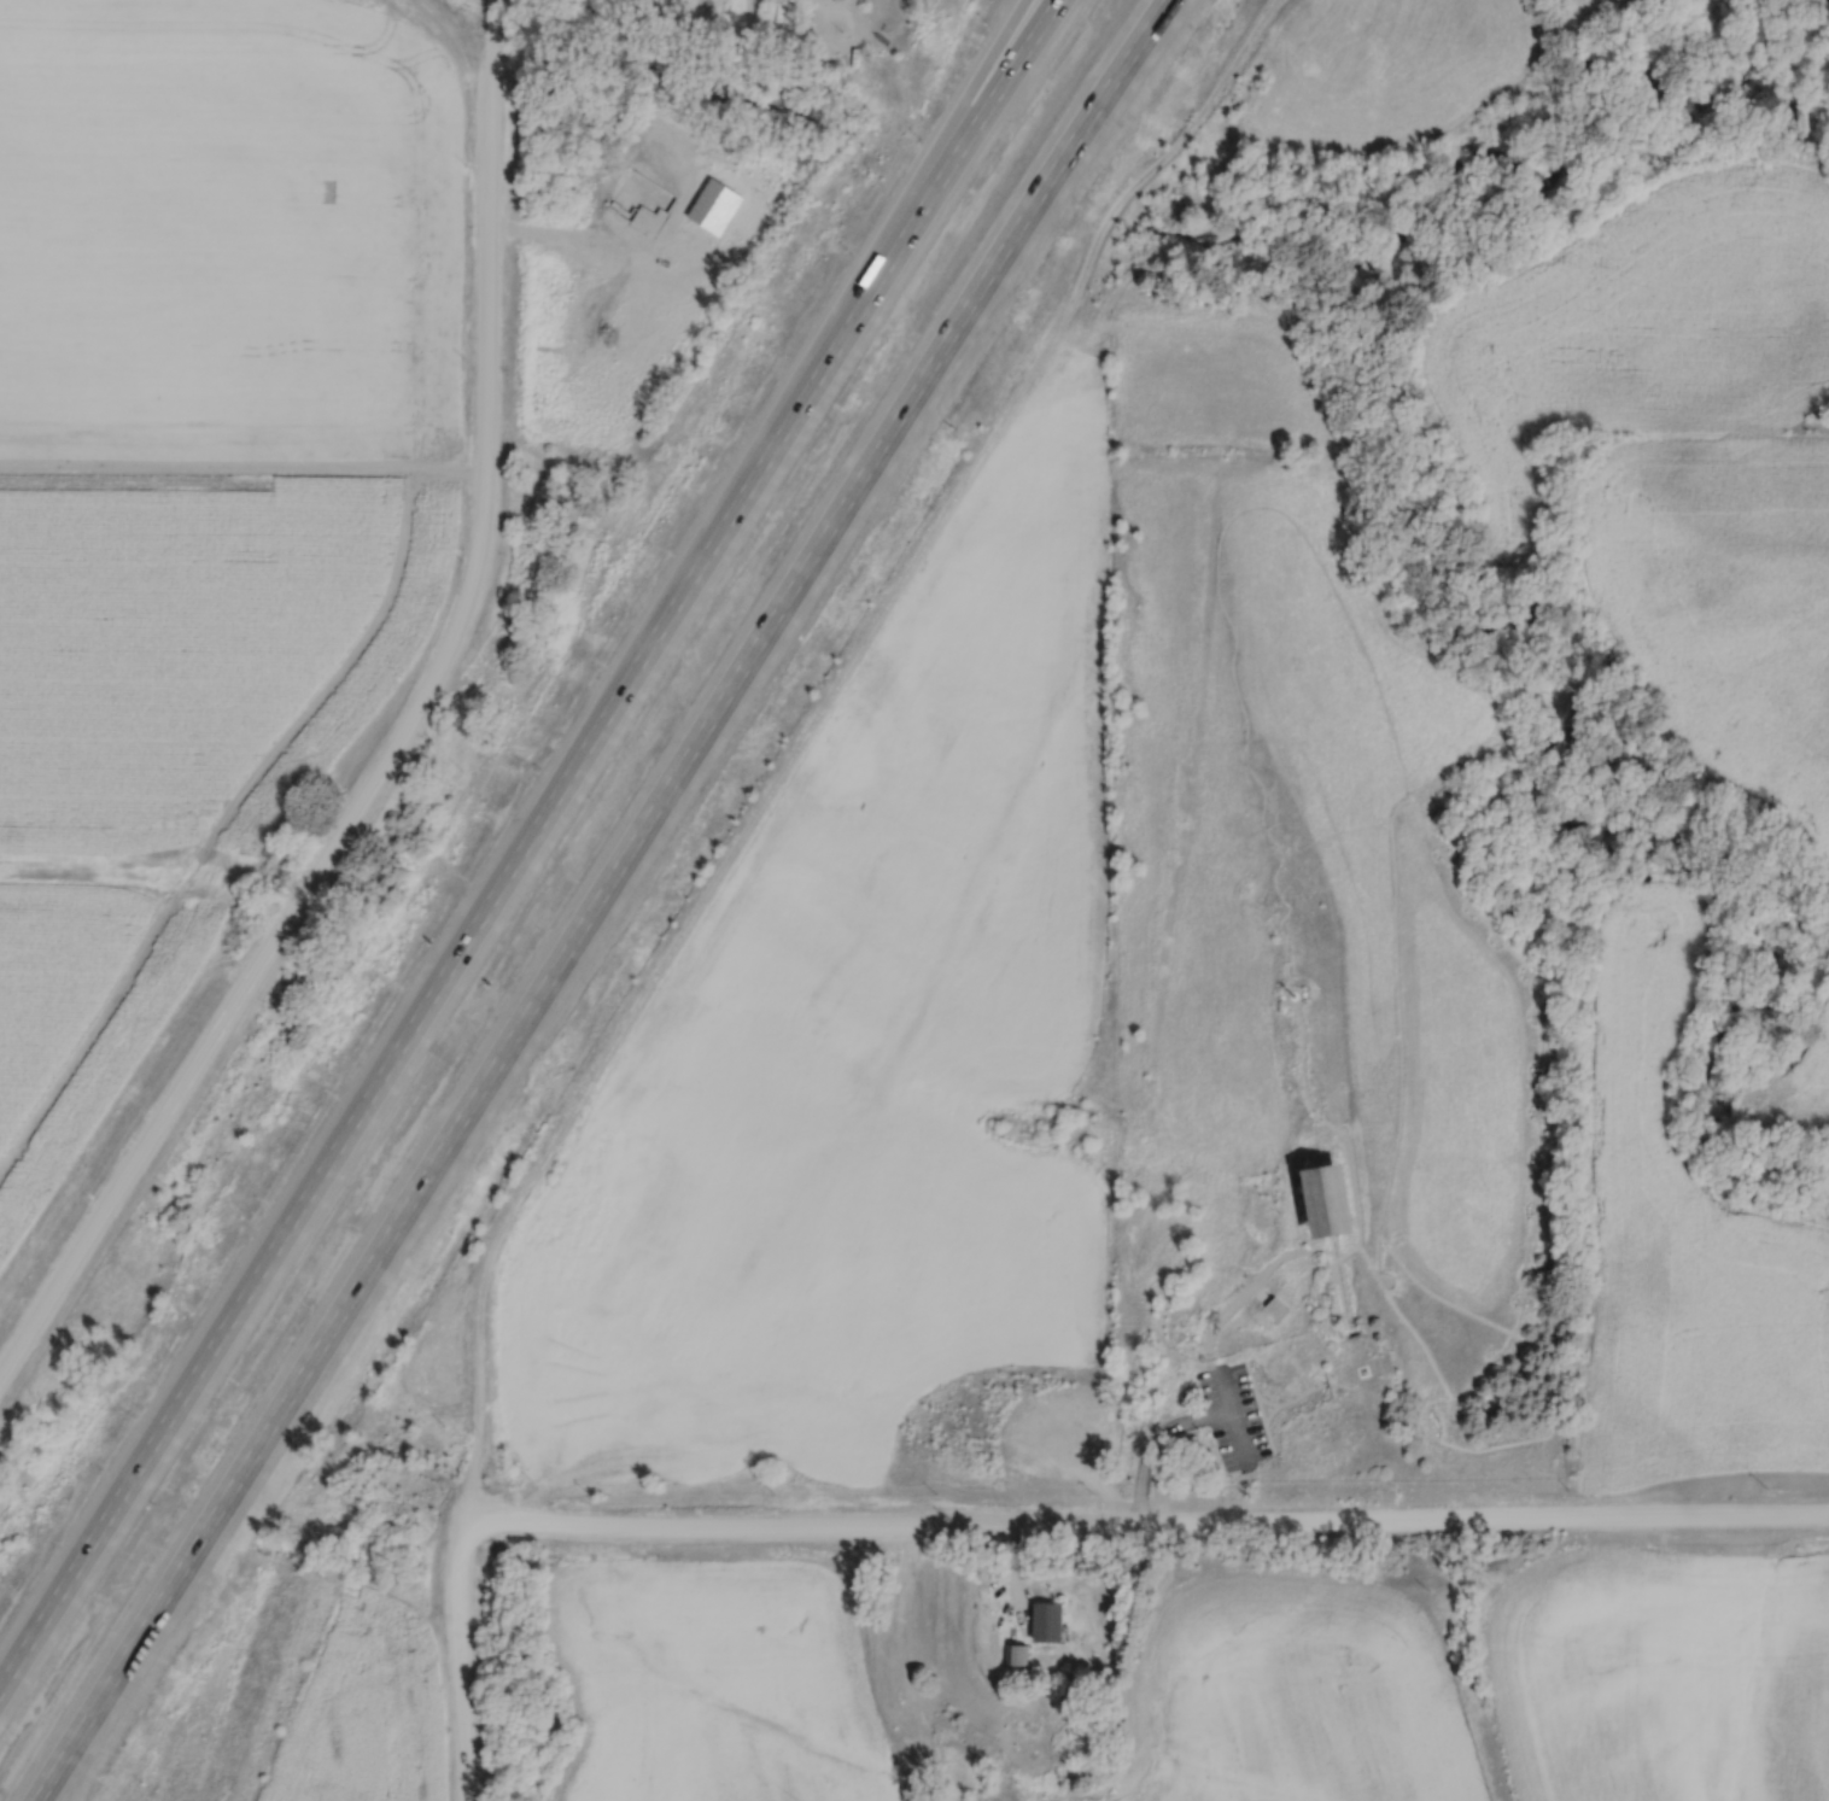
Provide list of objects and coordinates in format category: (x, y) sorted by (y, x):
road: (486, 16)
road: (560, 238)
road: (881, 251)
road: (386, 745)
road: (524, 846)
road: (600, 896)
road: (703, 911)
road: (1530, 978)
road: (1356, 1134)
building: (1314, 1199)
building: (1350, 1201)
road: (1352, 1288)
road: (1255, 1291)
building: (1372, 1373)
road: (1555, 1378)
road: (1295, 1396)
road: (1267, 1398)
parking lot: (1231, 1416)
road: (1149, 1460)
road: (631, 1461)
road: (1005, 1531)
road: (1018, 1568)
road: (908, 1600)
building: (1041, 1621)
building: (886, 1656)

